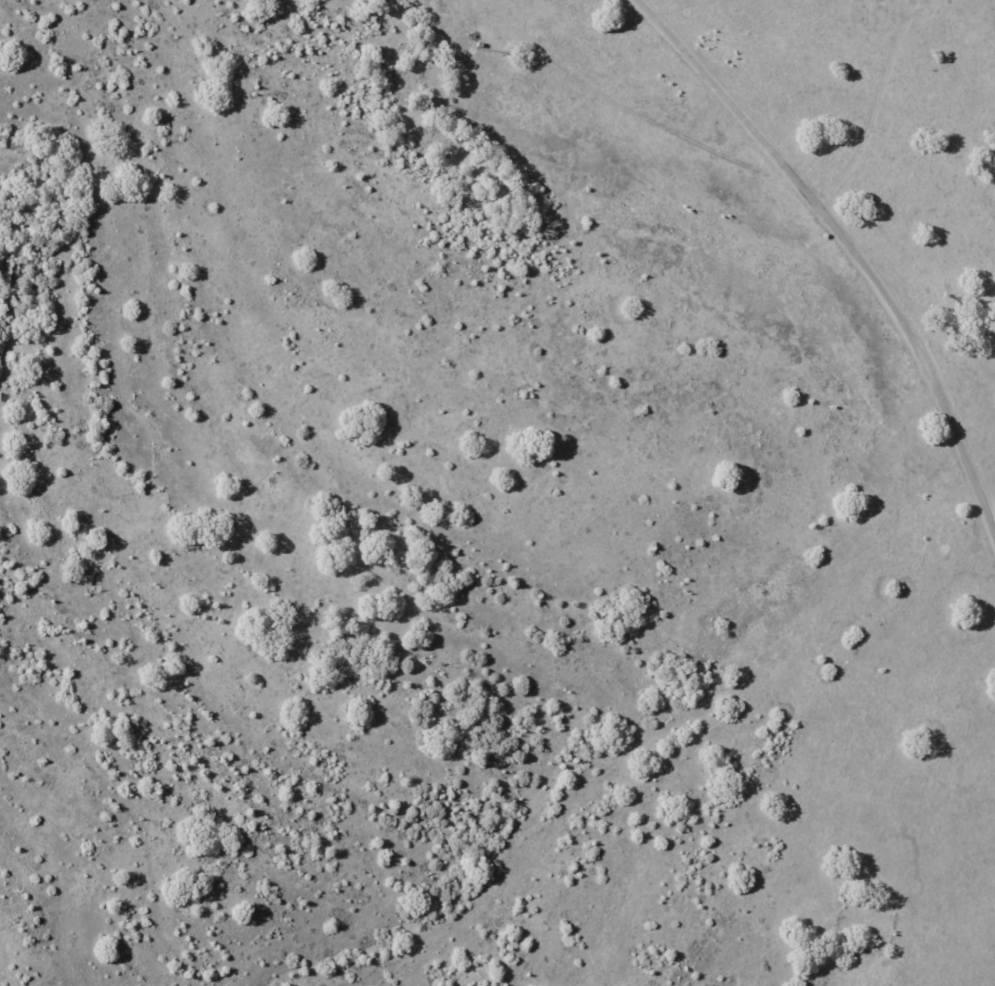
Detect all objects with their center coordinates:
road: (878, 238)

